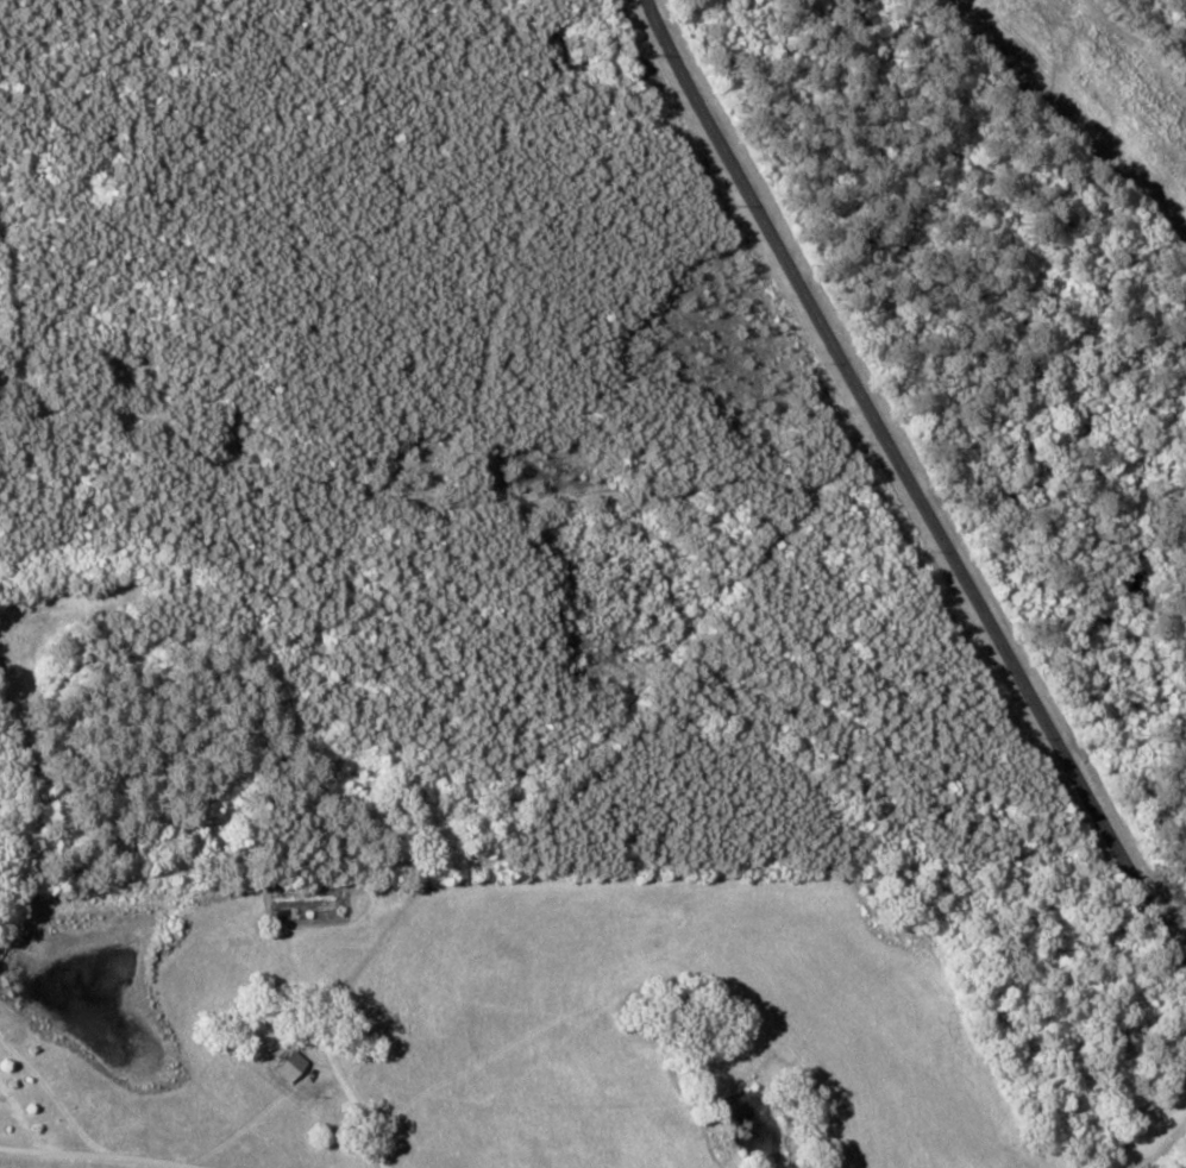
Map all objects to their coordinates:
road: (391, 505)
road: (905, 519)
road: (610, 709)
building: (290, 1066)

